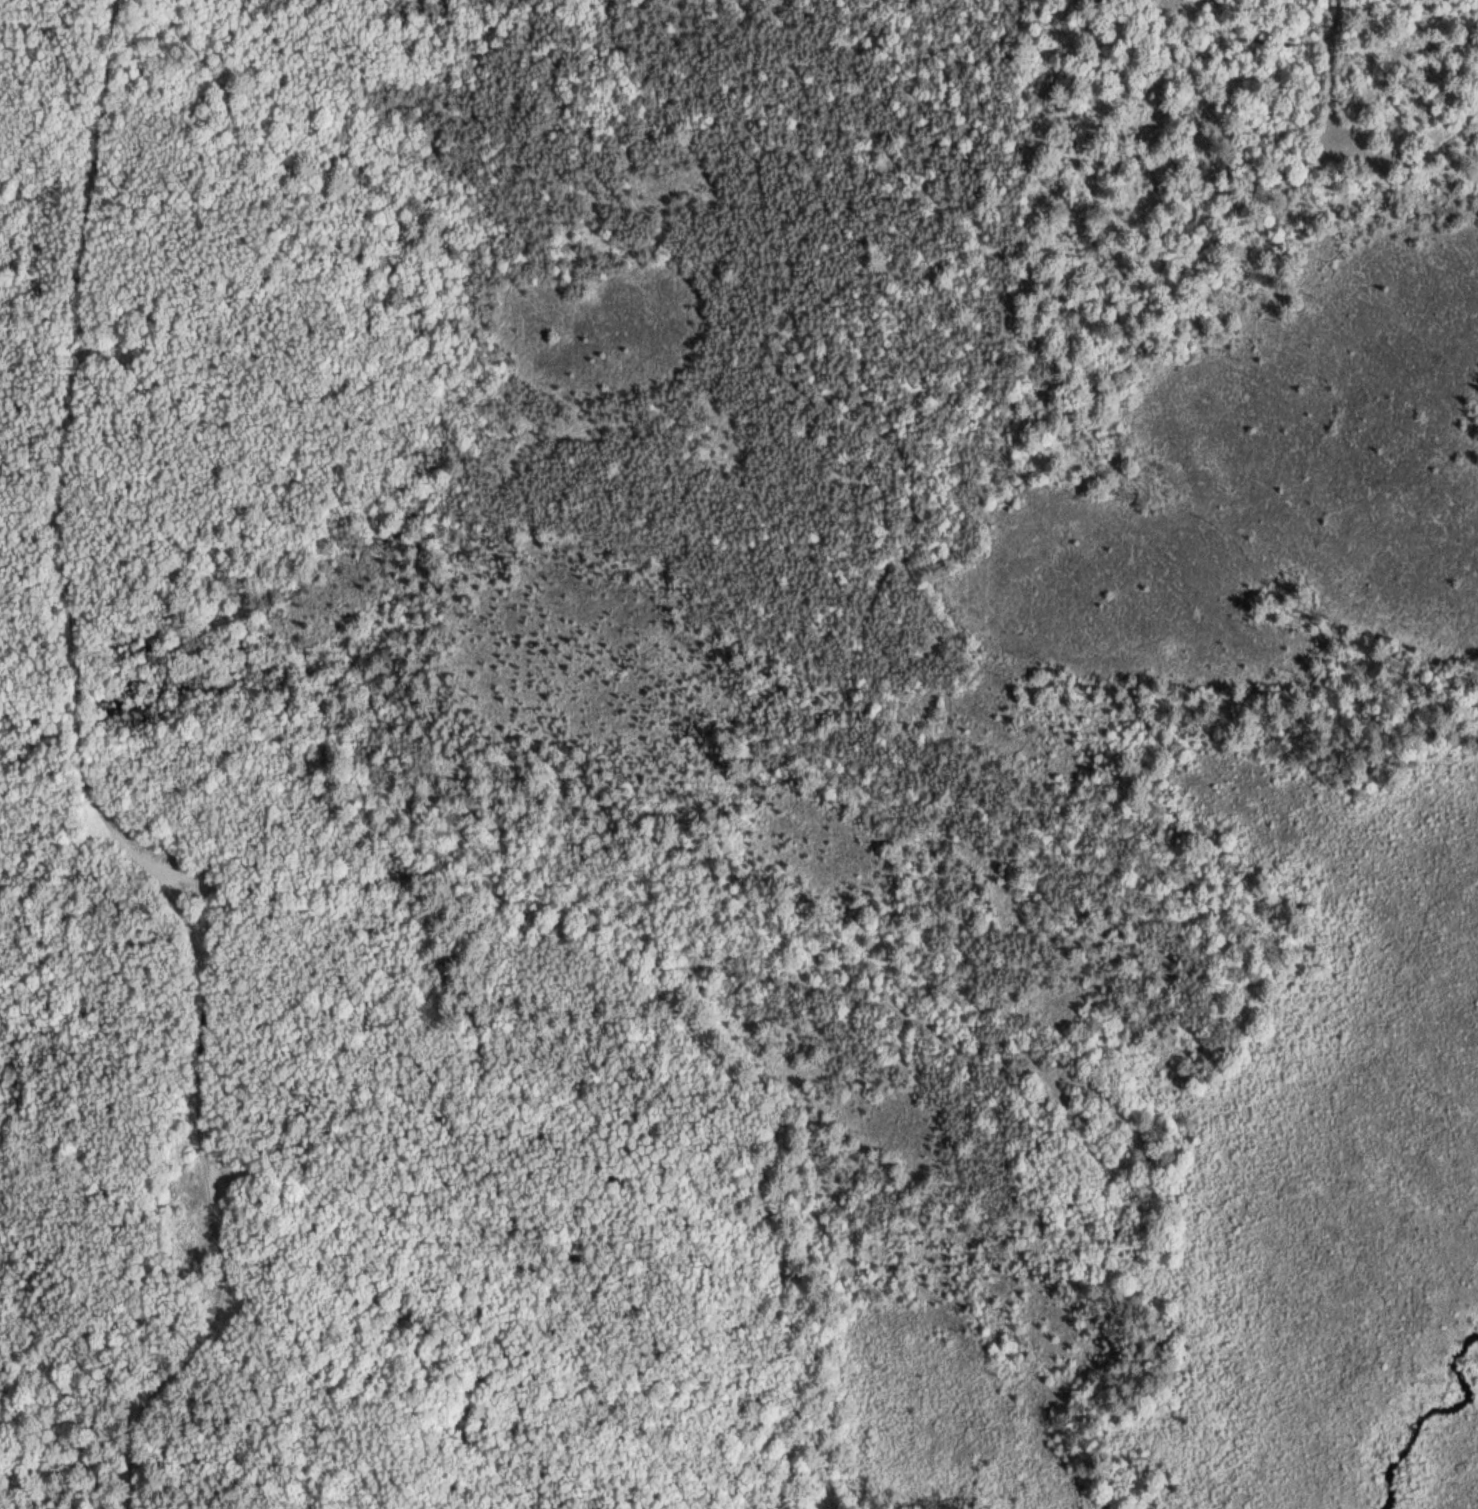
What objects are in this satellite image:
road: (87, 785)

